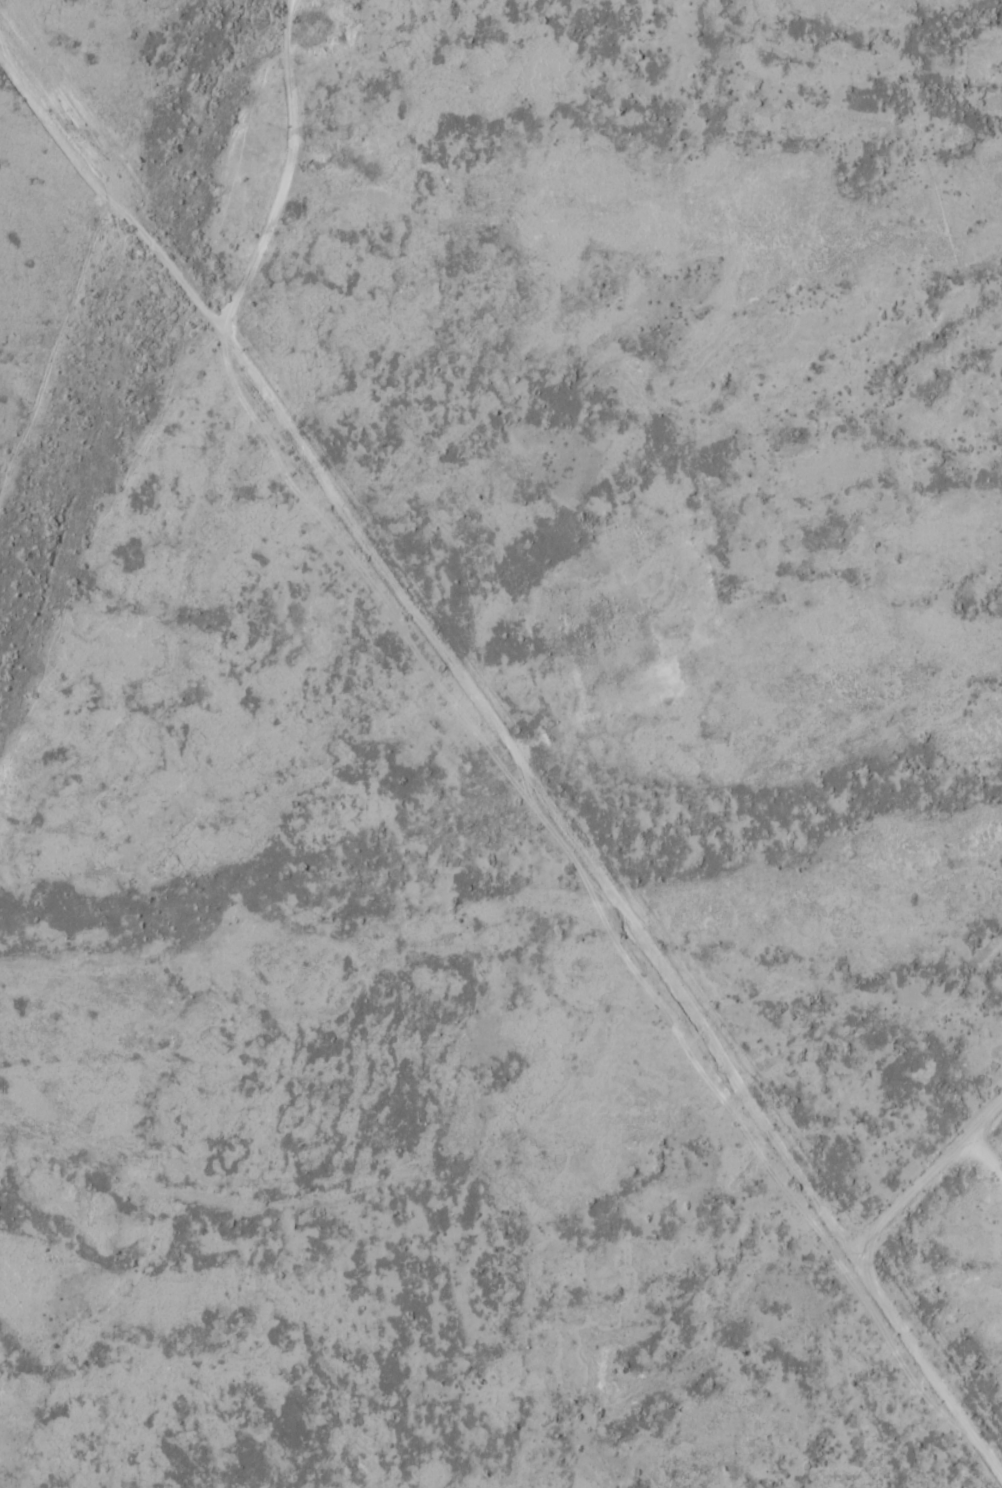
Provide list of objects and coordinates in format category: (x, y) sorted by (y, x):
road: (289, 166)
road: (514, 747)

